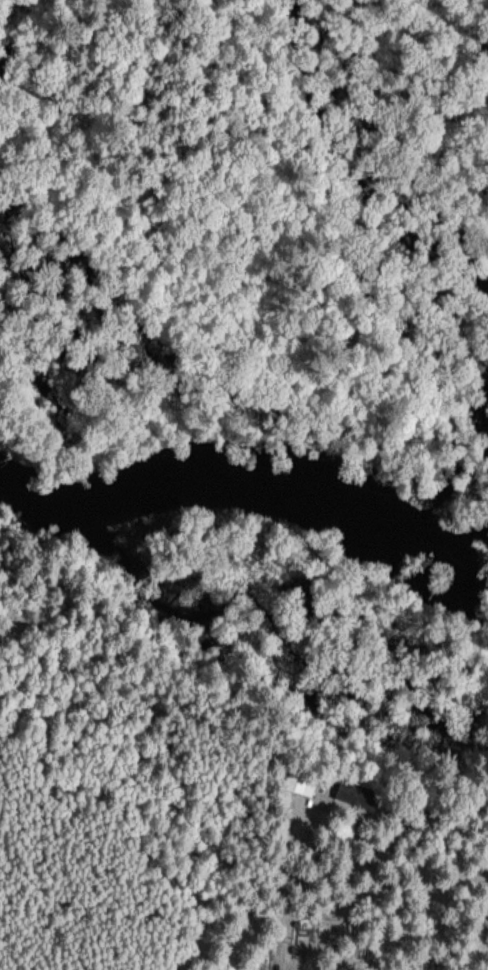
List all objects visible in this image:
river: (247, 490)
building: (296, 779)
building: (349, 789)
road: (290, 872)
road: (435, 899)

